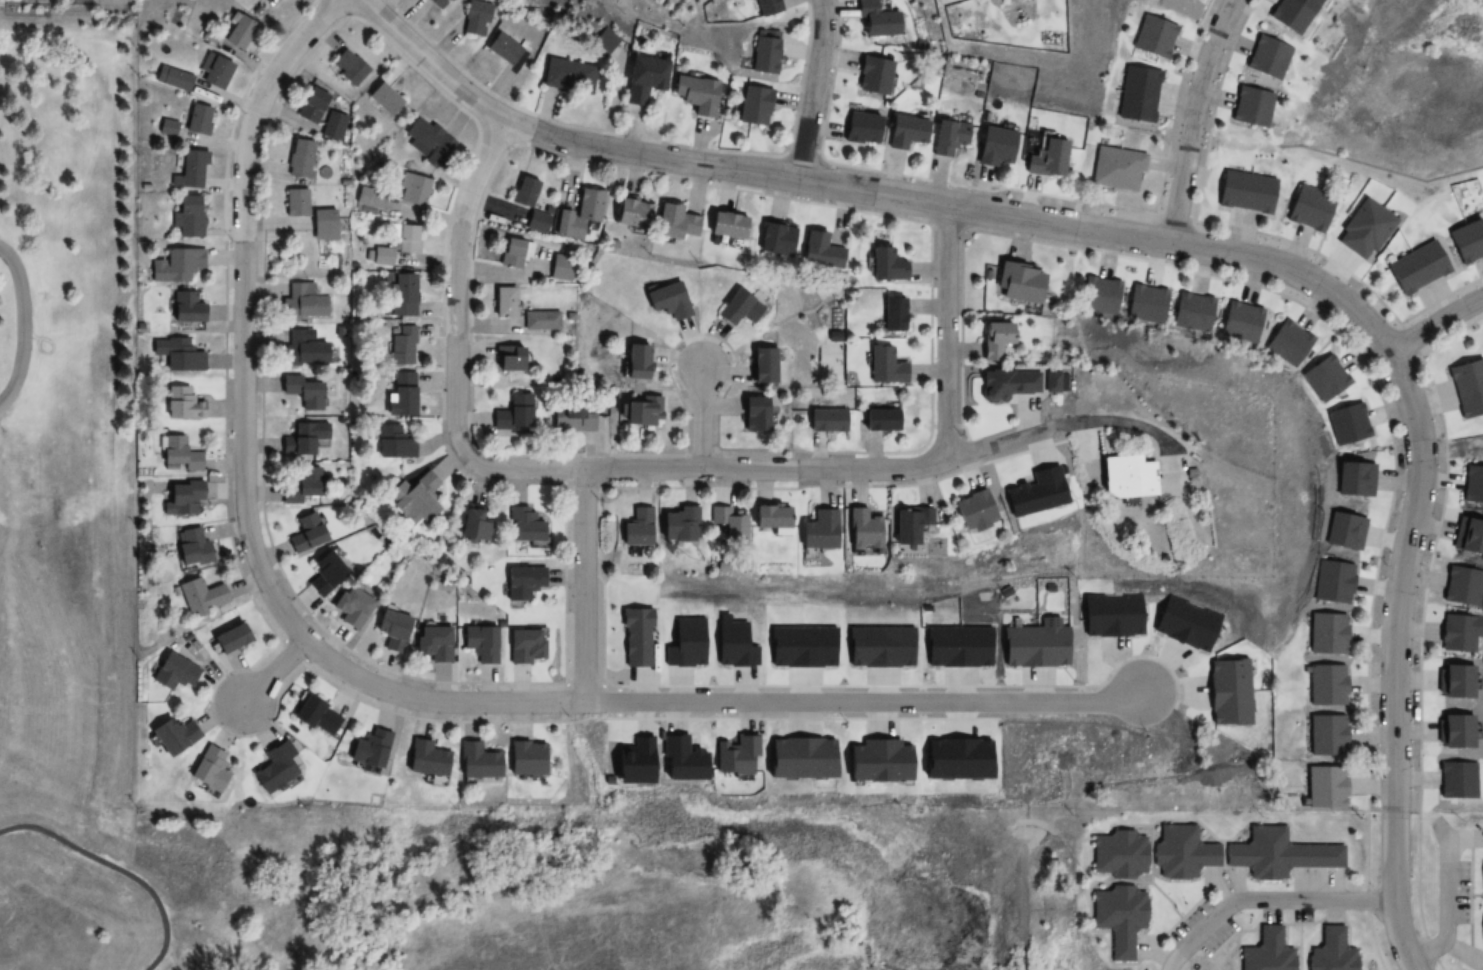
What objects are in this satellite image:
building: (36, 0)
building: (437, 4)
building: (764, 7)
building: (1291, 15)
building: (474, 19)
building: (874, 21)
building: (237, 33)
building: (1153, 38)
building: (502, 49)
building: (762, 54)
building: (1265, 59)
road: (431, 64)
building: (348, 68)
building: (212, 73)
building: (567, 77)
building: (872, 77)
building: (172, 79)
building: (642, 80)
road: (811, 89)
building: (693, 95)
building: (1137, 95)
building: (383, 100)
building: (310, 107)
building: (751, 107)
building: (1250, 108)
road: (1191, 118)
building: (197, 121)
building: (332, 126)
building: (167, 128)
building: (860, 130)
building: (905, 133)
building: (947, 138)
building: (428, 143)
building: (993, 148)
building: (299, 160)
building: (1045, 160)
building: (1116, 170)
building: (188, 171)
road: (785, 176)
building: (412, 190)
building: (524, 192)
building: (1245, 193)
building: (294, 203)
building: (1309, 209)
building: (631, 212)
building: (579, 214)
building: (186, 218)
building: (675, 222)
building: (726, 224)
building: (321, 225)
building: (1363, 230)
building: (774, 238)
building: (1466, 243)
building: (396, 245)
building: (819, 251)
building: (510, 252)
building: (885, 261)
building: (175, 266)
building: (1416, 269)
building: (1018, 282)
building: (401, 294)
building: (1101, 296)
building: (296, 301)
building: (667, 301)
building: (502, 302)
building: (1147, 303)
building: (183, 306)
building: (738, 308)
building: (1193, 312)
building: (891, 314)
building: (540, 320)
building: (1241, 322)
road: (26, 324)
road: (1436, 324)
road: (946, 330)
building: (990, 340)
building: (1289, 343)
building: (400, 346)
building: (303, 348)
building: (177, 355)
building: (507, 358)
building: (632, 360)
building: (762, 364)
building: (883, 366)
building: (1325, 378)
building: (1046, 383)
building: (1007, 384)
building: (1468, 387)
building: (400, 393)
building: (301, 394)
building: (182, 404)
park: (64, 408)
building: (639, 410)
building: (513, 413)
building: (754, 414)
building: (572, 419)
road: (701, 419)
building: (877, 419)
building: (824, 420)
building: (1349, 425)
road: (1136, 427)
road: (1022, 434)
building: (302, 438)
building: (392, 442)
building: (181, 454)
road: (532, 470)
building: (1123, 477)
building: (1354, 480)
road: (1421, 481)
building: (301, 483)
building: (1473, 484)
building: (180, 498)
building: (415, 498)
building: (969, 509)
building: (766, 516)
building: (473, 523)
building: (676, 523)
building: (726, 523)
building: (522, 525)
building: (899, 526)
building: (635, 528)
building: (859, 528)
building: (814, 530)
building: (1340, 530)
building: (304, 534)
building: (1469, 536)
building: (190, 547)
building: (323, 573)
building: (1332, 581)
building: (522, 582)
road: (585, 585)
building: (1463, 586)
building: (199, 595)
building: (351, 607)
building: (391, 630)
building: (1459, 632)
building: (1326, 633)
building: (226, 638)
building: (433, 643)
building: (479, 643)
building: (524, 646)
building: (173, 672)
road: (272, 672)
building: (1455, 681)
building: (1326, 685)
road: (377, 687)
building: (313, 716)
building: (1455, 731)
building: (1325, 735)
building: (172, 736)
building: (369, 748)
building: (422, 758)
building: (521, 759)
building: (475, 761)
building: (274, 767)
building: (207, 768)
building: (1456, 779)
building: (1181, 852)
building: (1119, 854)
building: (1279, 854)
road: (119, 869)
road: (1266, 899)
building: (1119, 917)
building: (1482, 931)
building: (1266, 952)
building: (1331, 952)

